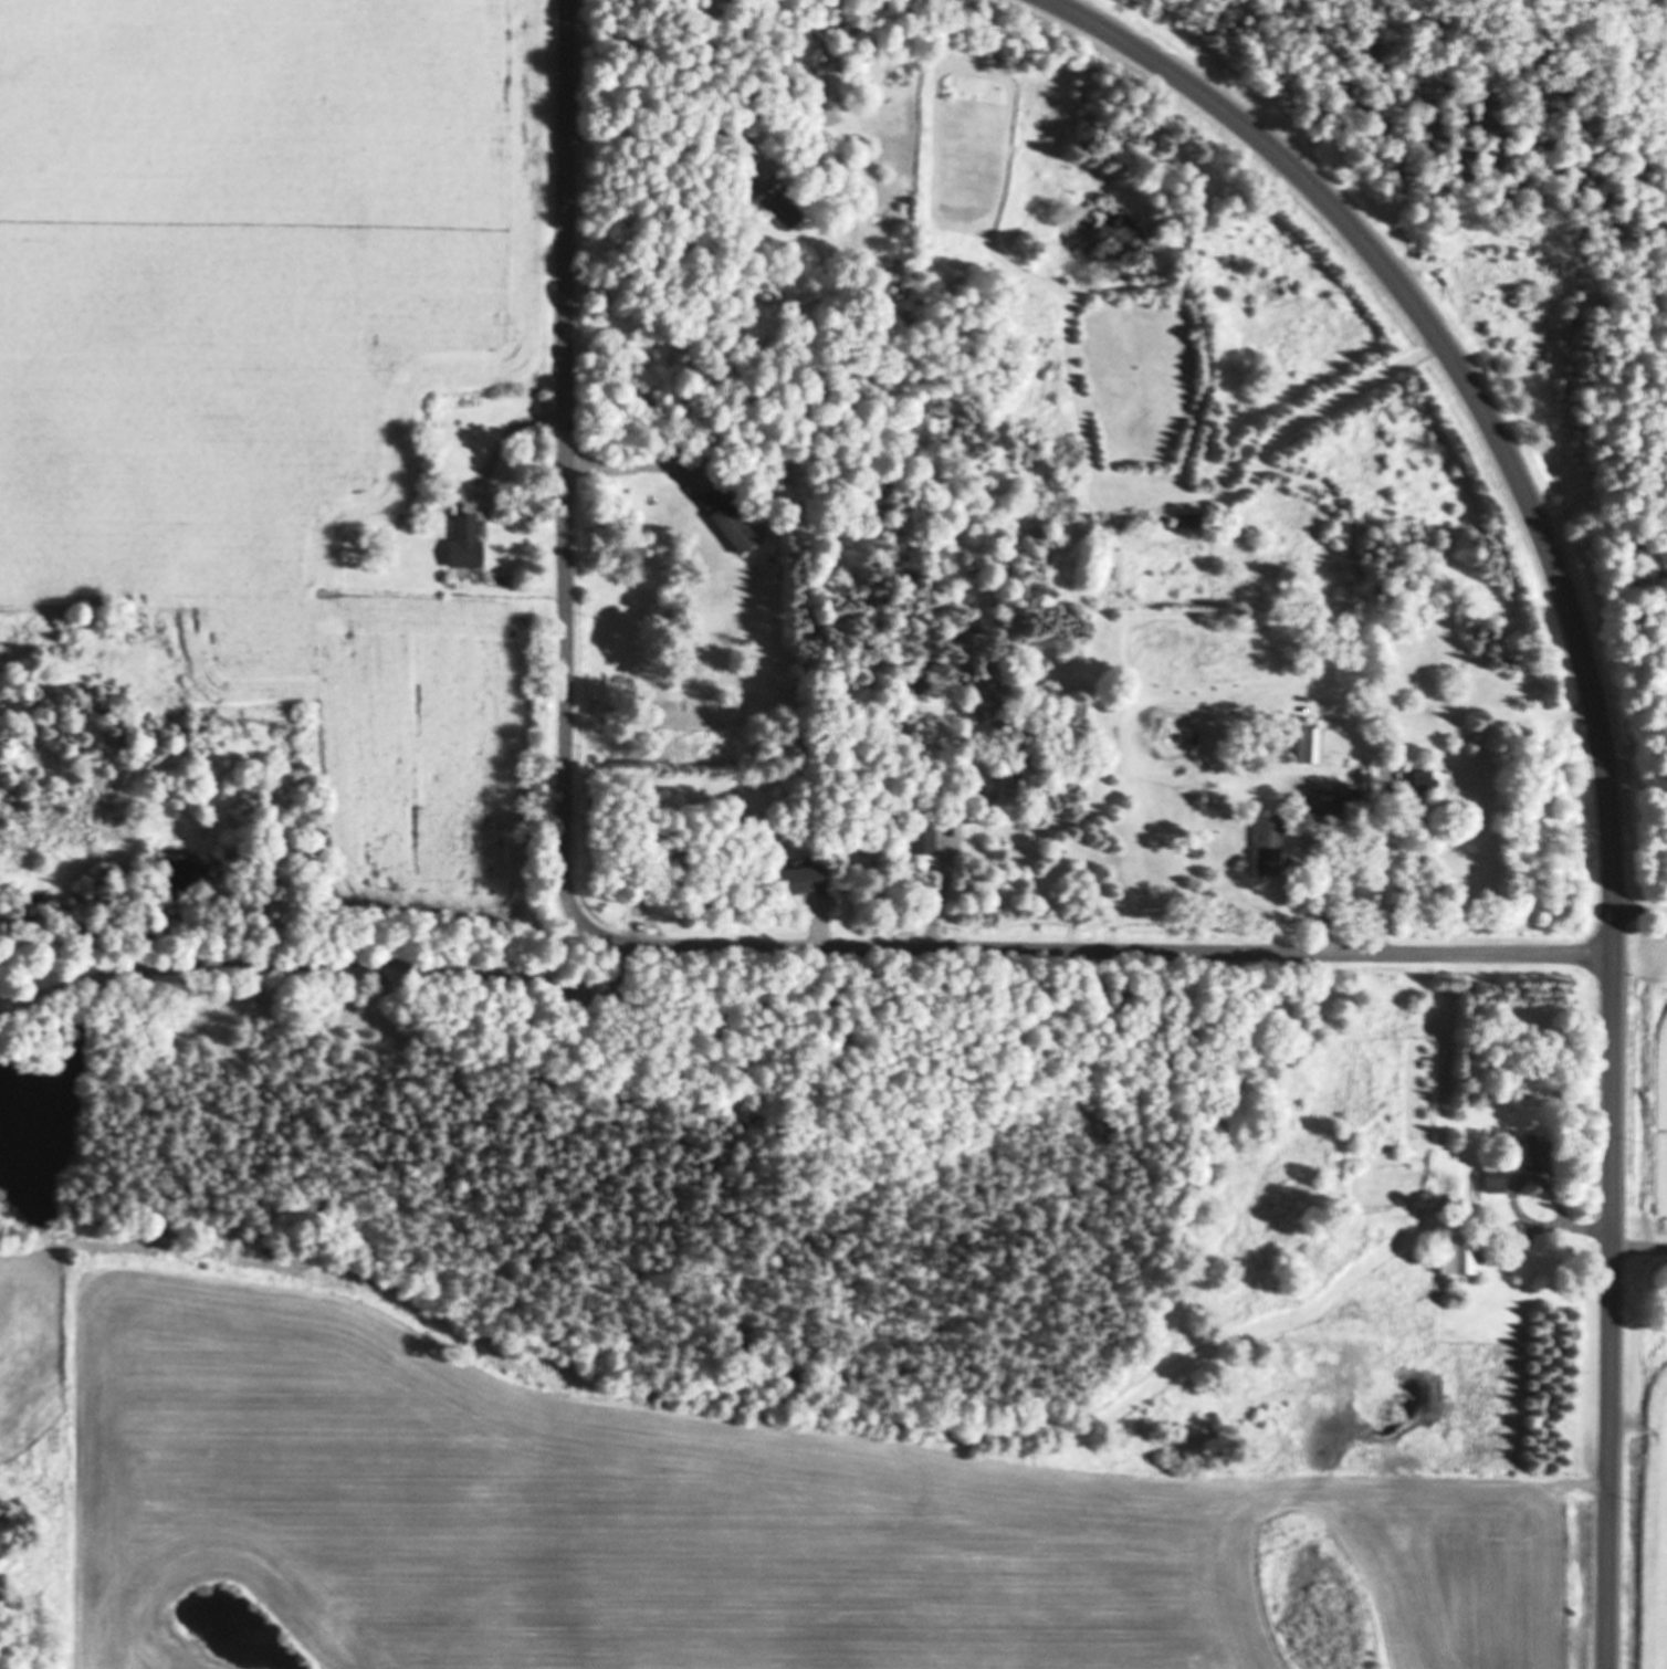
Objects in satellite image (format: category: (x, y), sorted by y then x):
building: (782, 210)
building: (730, 522)
building: (469, 545)
road: (1598, 725)
building: (1309, 746)
building: (924, 839)
building: (807, 879)
road: (632, 945)
building: (1541, 1151)
building: (1496, 1180)
building: (1459, 1257)

